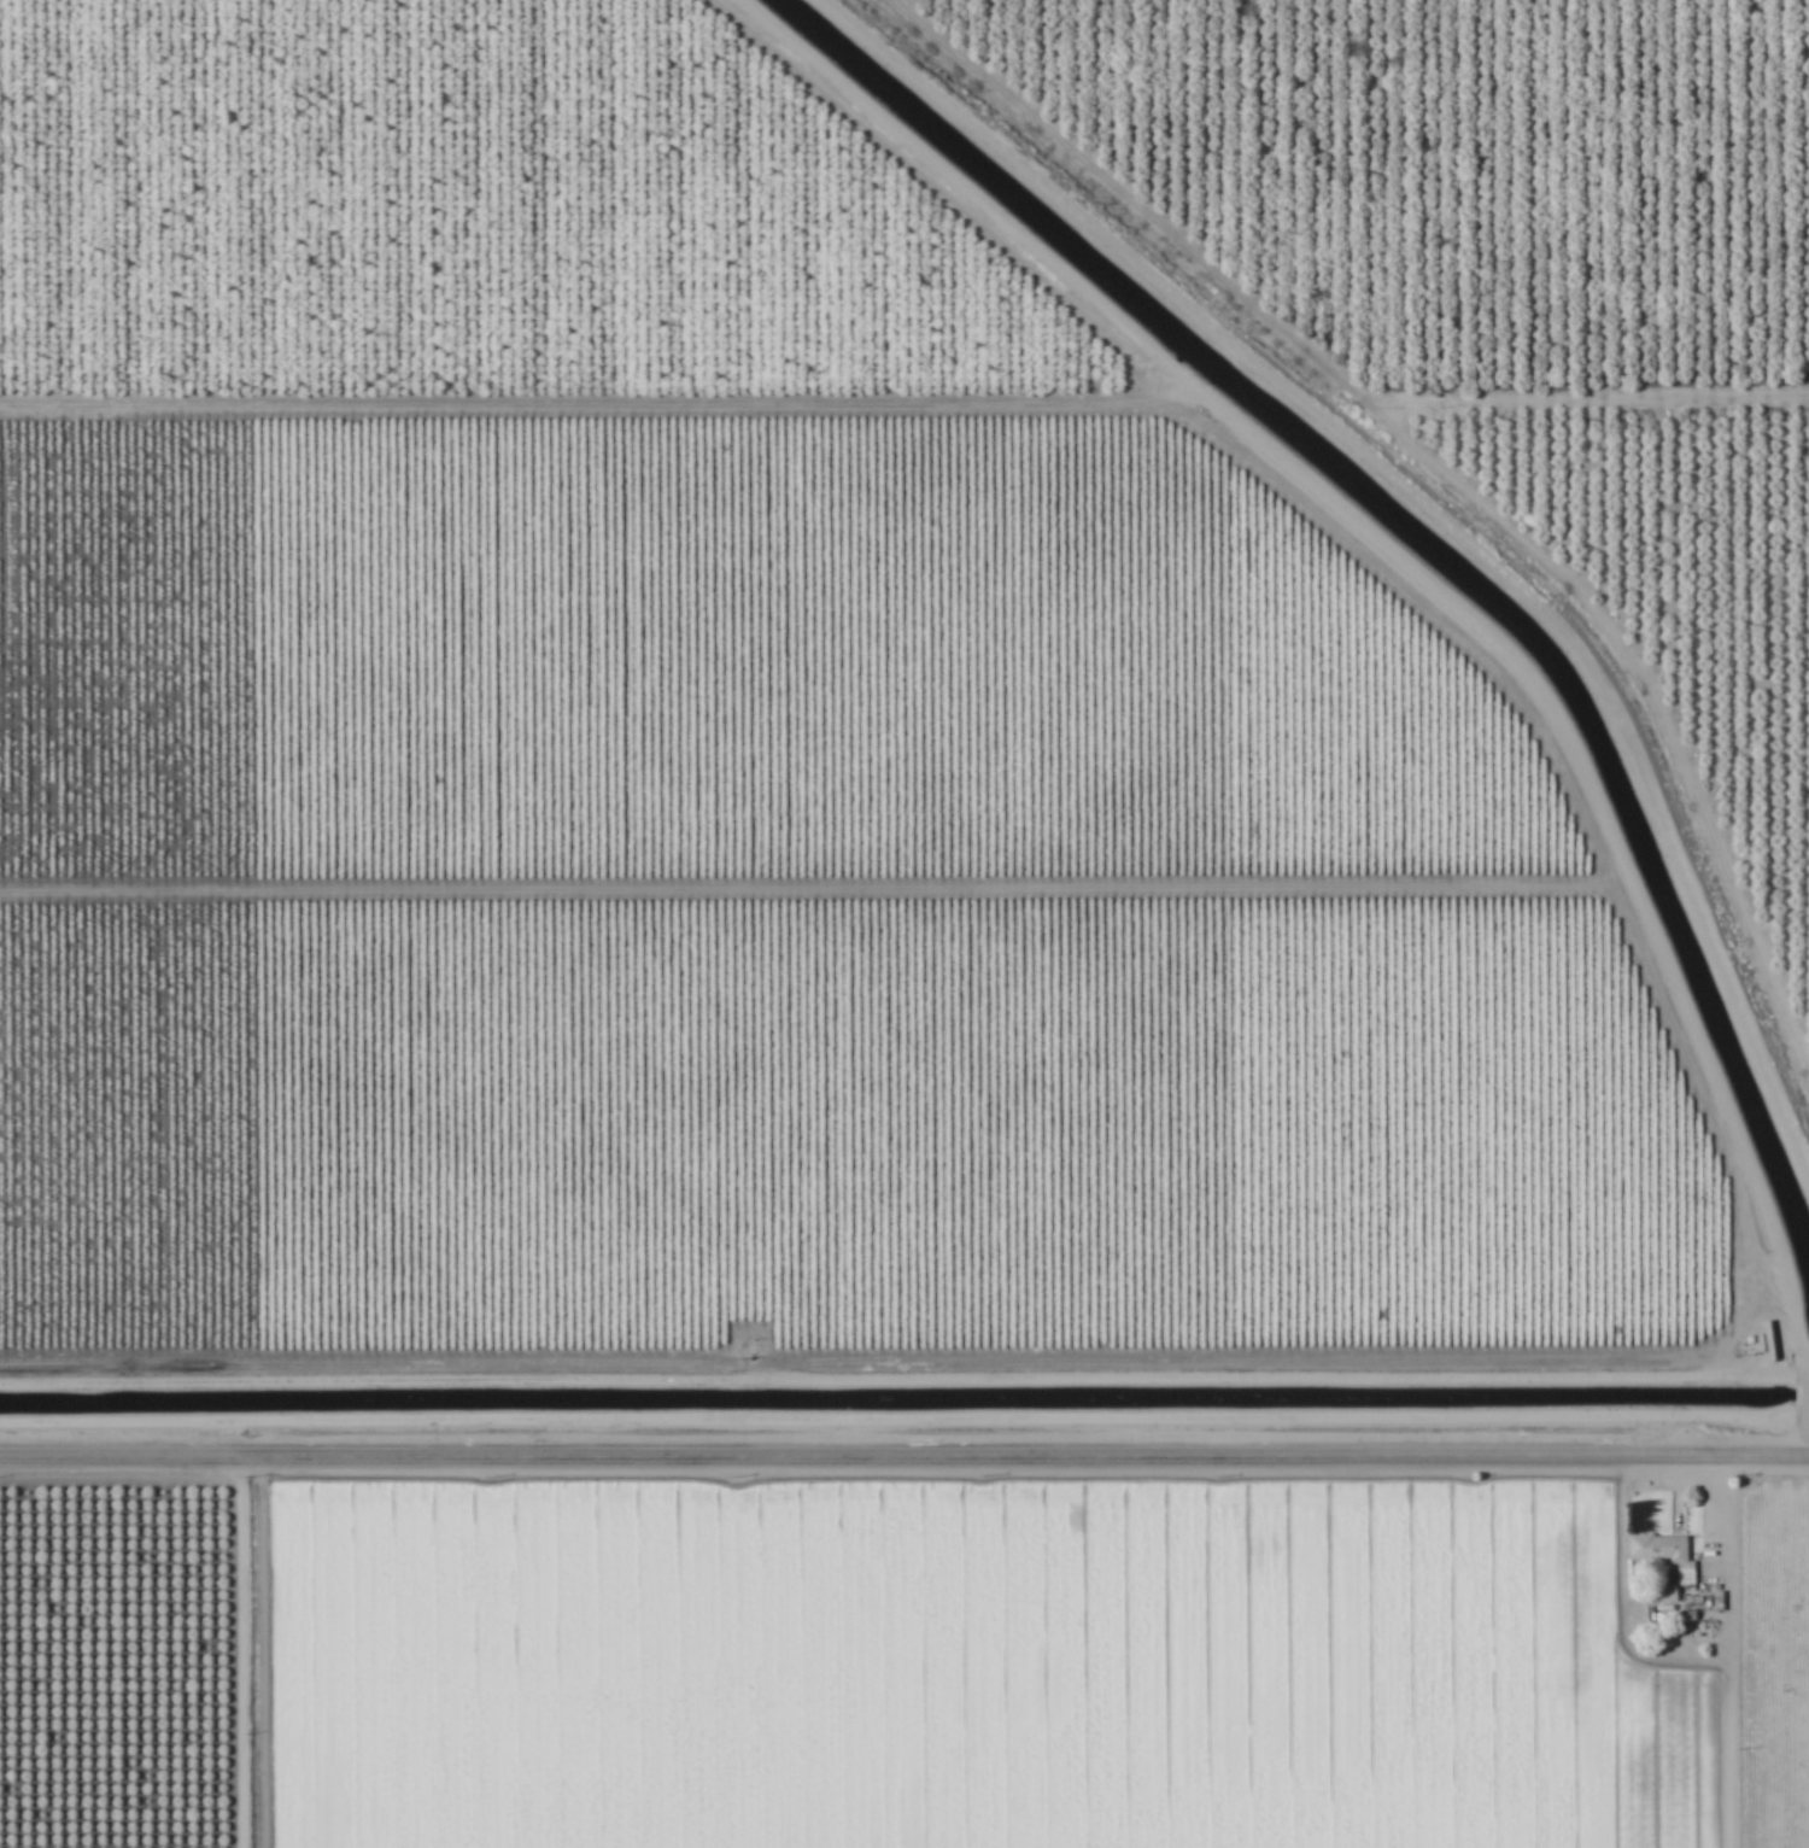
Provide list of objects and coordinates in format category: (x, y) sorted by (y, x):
road: (1453, 600)
crop: (904, 924)
road: (904, 1449)
building: (1659, 1550)
building: (1665, 1597)
road: (1709, 1645)
road: (236, 1650)

